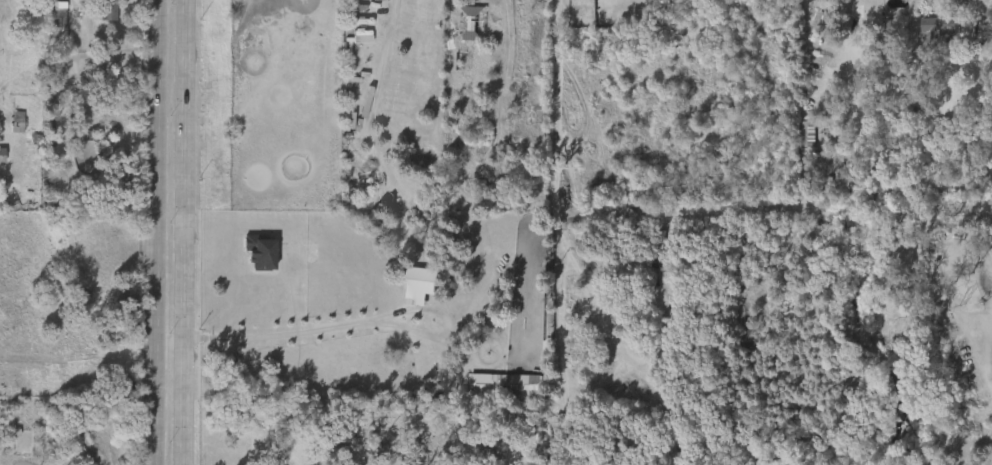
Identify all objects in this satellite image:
building: (231, 0)
building: (598, 0)
building: (371, 4)
building: (108, 9)
road: (990, 11)
road: (66, 14)
building: (99, 17)
building: (50, 23)
building: (469, 23)
building: (937, 23)
building: (807, 29)
building: (929, 38)
building: (353, 45)
road: (557, 107)
building: (9, 124)
building: (801, 154)
road: (773, 214)
road: (156, 232)
road: (185, 232)
building: (251, 260)
road: (565, 287)
building: (410, 290)
road: (365, 320)
building: (503, 386)

